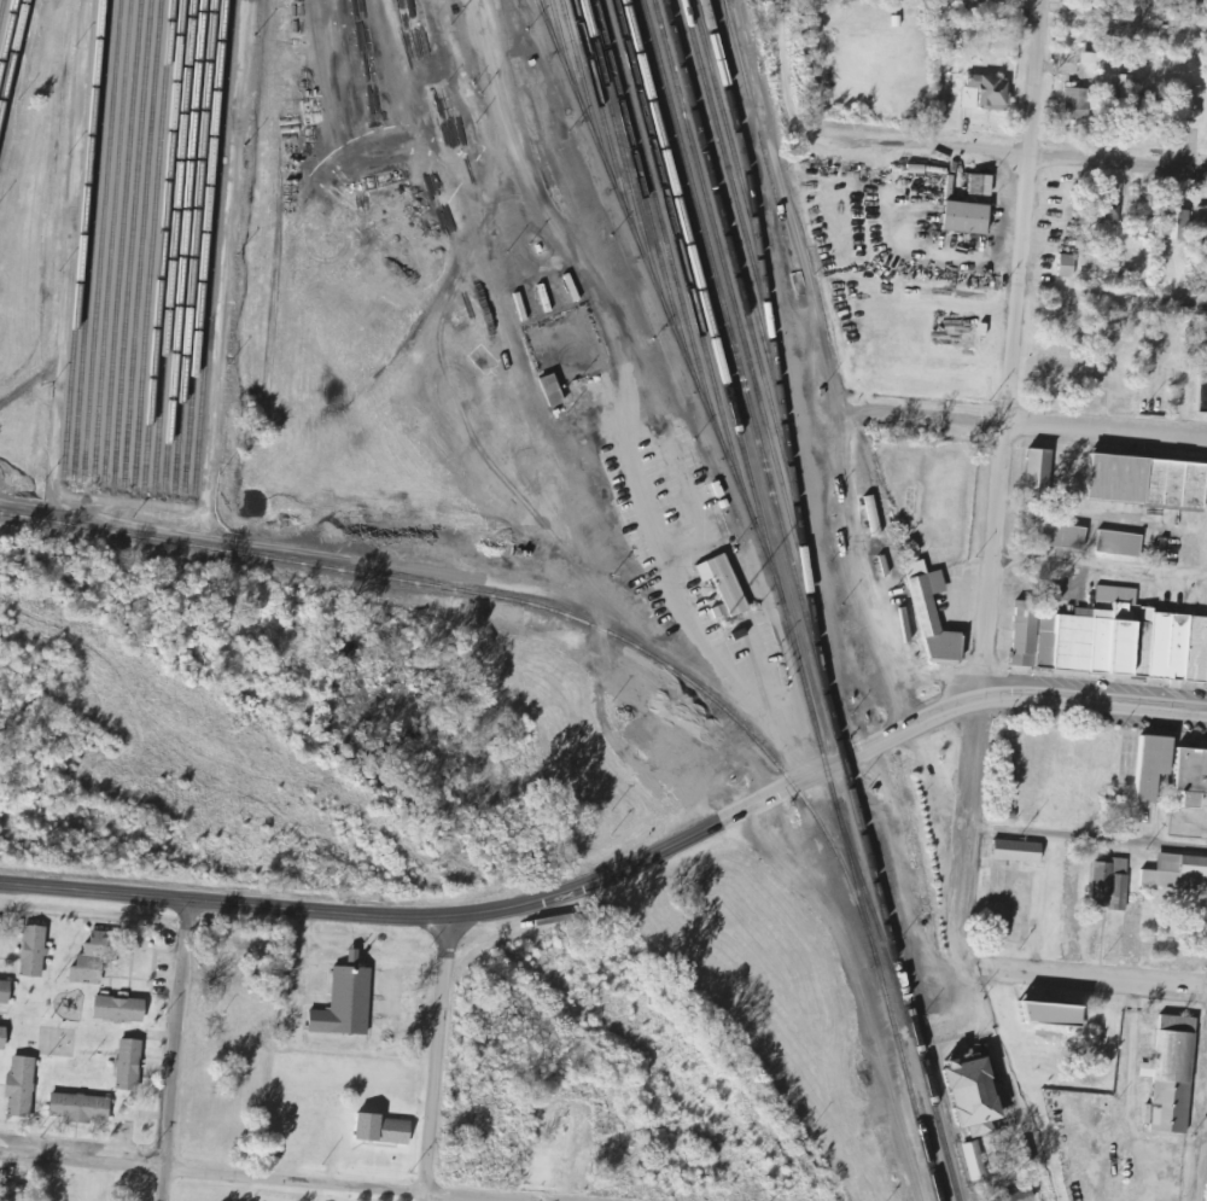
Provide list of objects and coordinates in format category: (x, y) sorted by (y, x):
railway: (1, 7)
building: (1083, 10)
building: (1185, 10)
railway: (543, 13)
railway: (6, 31)
railway: (725, 41)
railway: (562, 47)
railway: (12, 54)
building: (1090, 64)
road: (782, 70)
railway: (731, 80)
railway: (583, 81)
building: (1126, 87)
building: (987, 92)
building: (1077, 104)
railway: (600, 111)
railway: (734, 122)
railway: (758, 134)
railway: (618, 141)
railway: (733, 159)
road: (1005, 159)
railway: (639, 176)
building: (982, 185)
railway: (736, 204)
railway: (659, 216)
building: (1107, 216)
building: (969, 218)
building: (1200, 220)
building: (1178, 225)
railway: (103, 238)
railway: (112, 238)
railway: (92, 239)
railway: (122, 239)
railway: (133, 239)
railway: (81, 240)
railway: (142, 241)
railway: (153, 241)
railway: (163, 241)
railway: (173, 243)
railway: (182, 244)
railway: (203, 244)
railway: (212, 244)
railway: (678, 244)
railway: (193, 245)
railway: (739, 247)
building: (1206, 249)
building: (1068, 266)
railway: (657, 288)
railway: (744, 305)
railway: (745, 350)
building: (1205, 387)
building: (554, 390)
road: (1054, 426)
building: (1037, 476)
building: (1147, 480)
road: (1007, 484)
railway: (782, 535)
building: (1062, 537)
building: (1118, 543)
road: (1103, 562)
building: (727, 583)
railway: (515, 600)
railway: (781, 600)
building: (932, 619)
building: (1113, 641)
road: (1094, 700)
building: (1156, 765)
building: (1194, 776)
building: (1020, 851)
building: (1176, 873)
building: (1113, 885)
road: (512, 905)
railway: (870, 913)
building: (34, 951)
building: (233, 956)
building: (93, 957)
road: (1081, 976)
building: (5, 991)
building: (344, 1003)
building: (118, 1009)
building: (1054, 1013)
building: (2, 1038)
road: (173, 1049)
road: (435, 1059)
building: (128, 1065)
building: (1171, 1075)
building: (21, 1086)
building: (974, 1092)
building: (80, 1108)
building: (386, 1130)
railway: (940, 1136)
building: (976, 1165)
road: (252, 1178)
road: (1205, 1183)
building: (16, 1193)
building: (1024, 1197)

